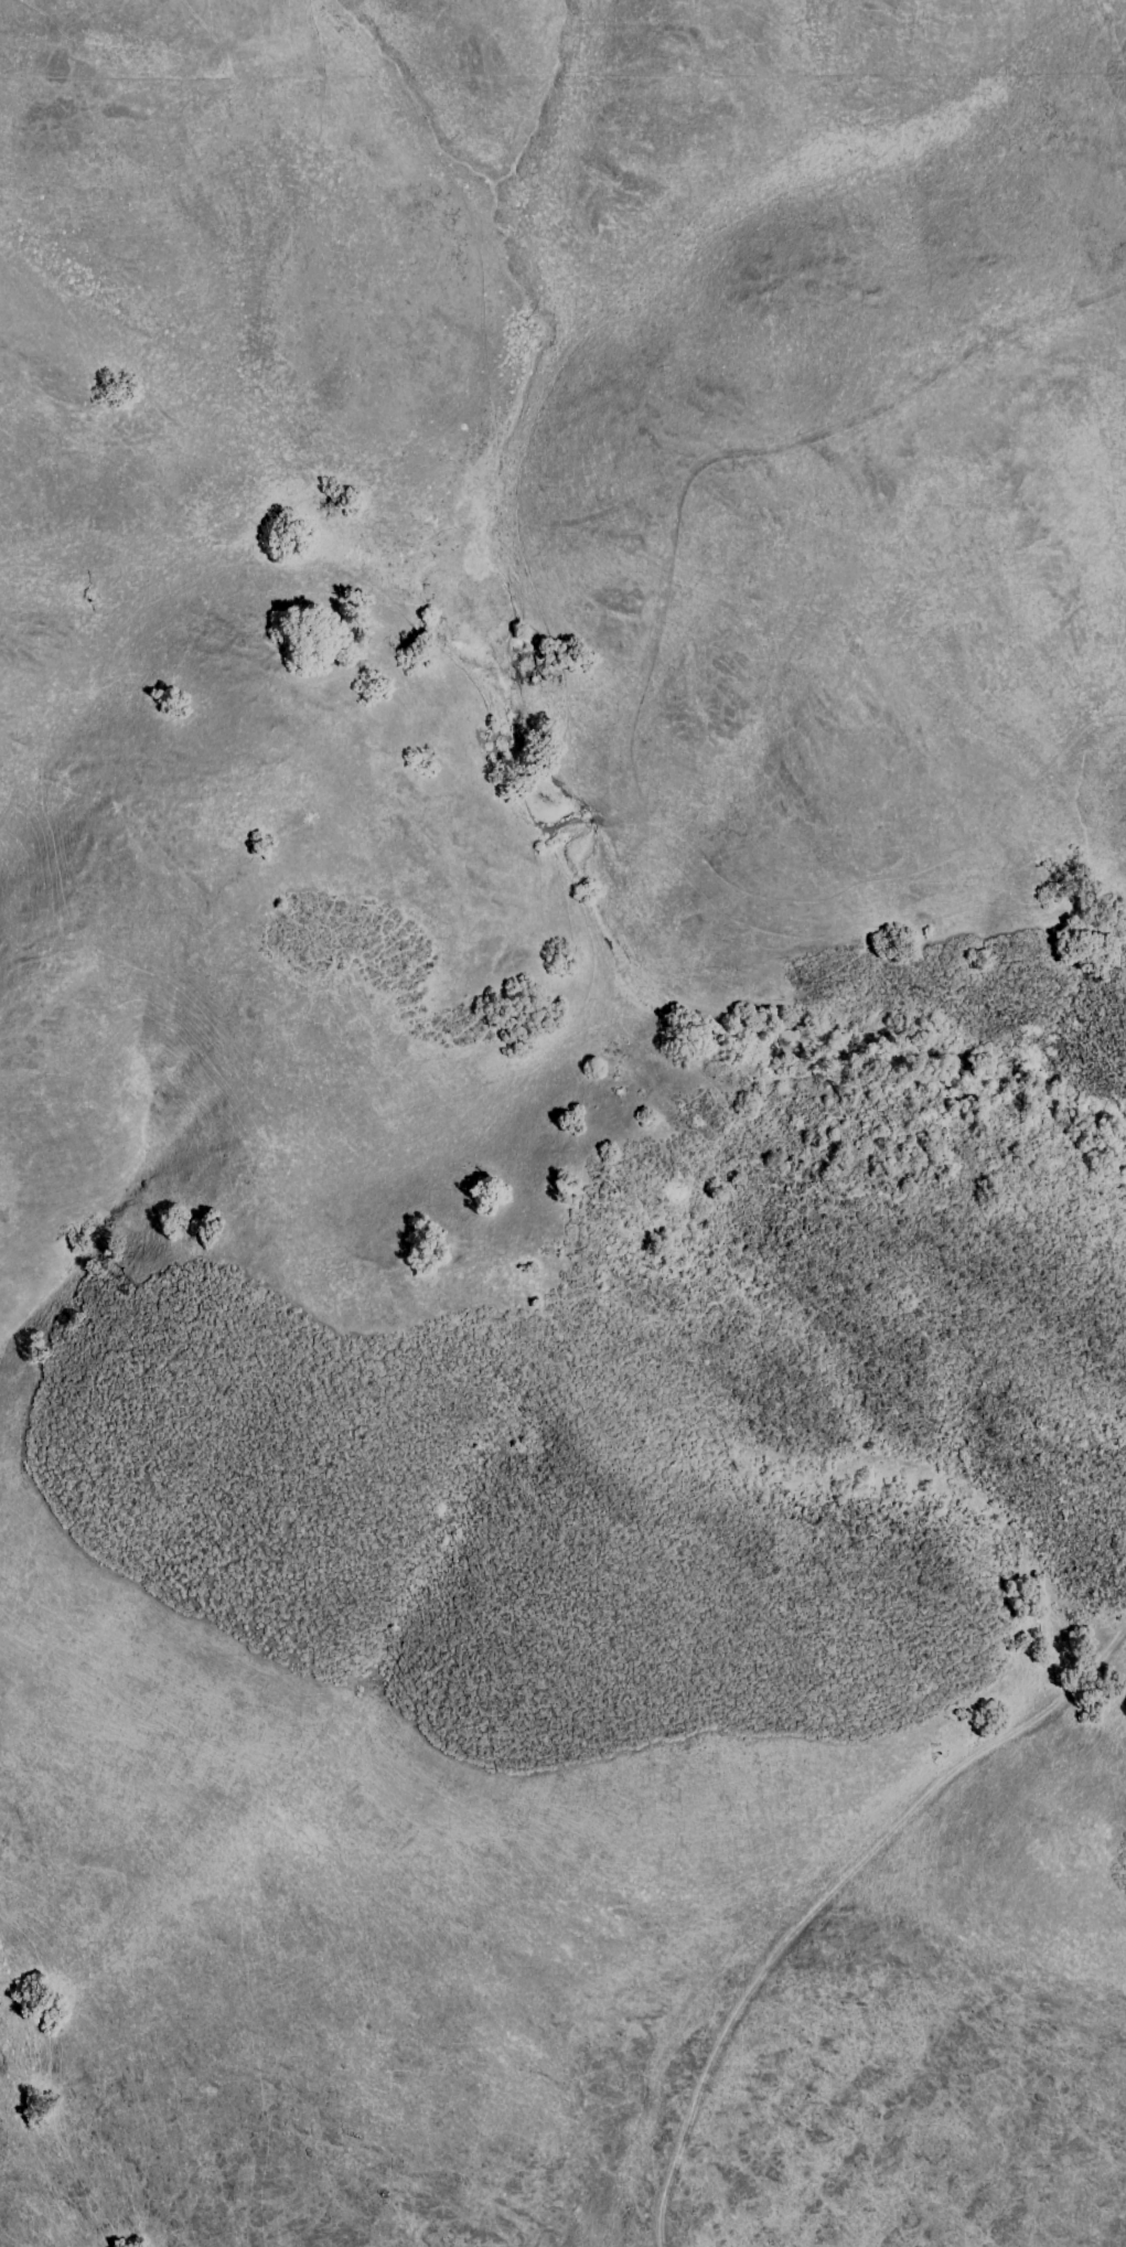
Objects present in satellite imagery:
road: (664, 2182)

